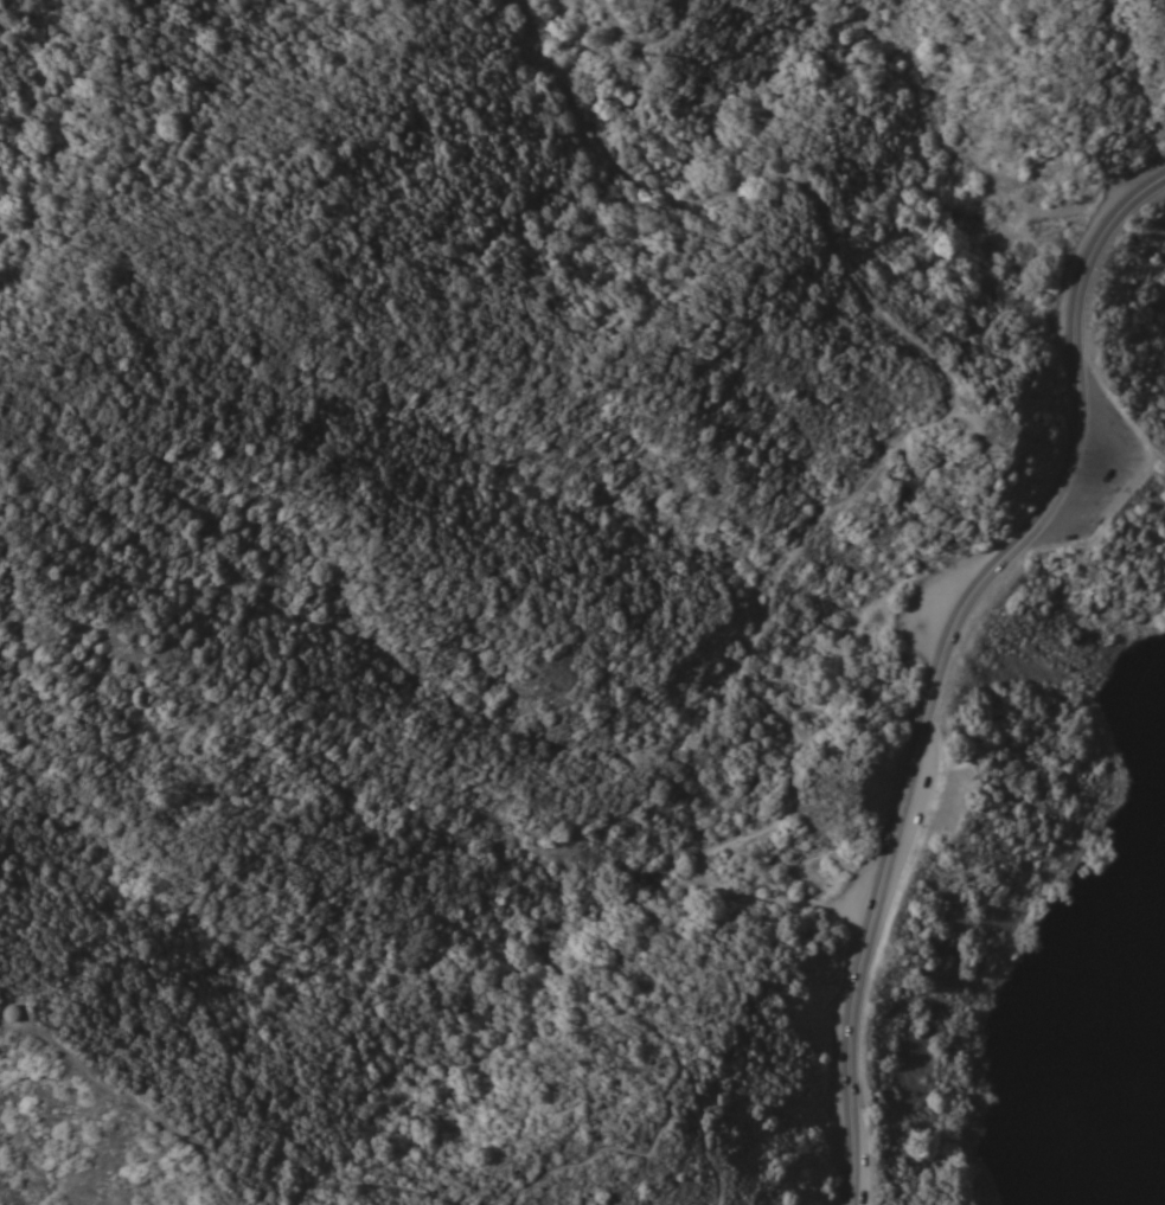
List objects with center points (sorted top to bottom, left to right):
road: (645, 39)
road: (895, 441)
road: (942, 659)
road: (21, 996)
building: (13, 1012)
road: (645, 1023)
road: (139, 1105)
road: (703, 1132)
road: (361, 1190)

